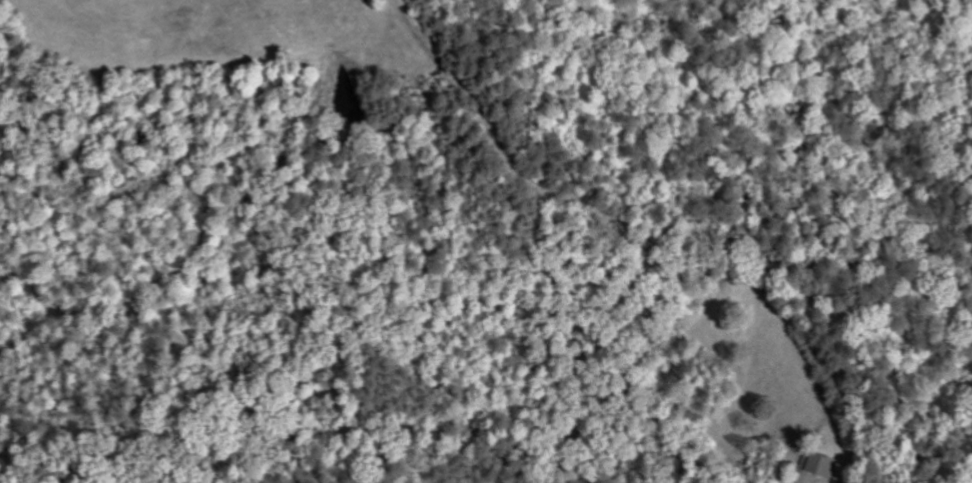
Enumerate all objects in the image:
building: (819, 465)

